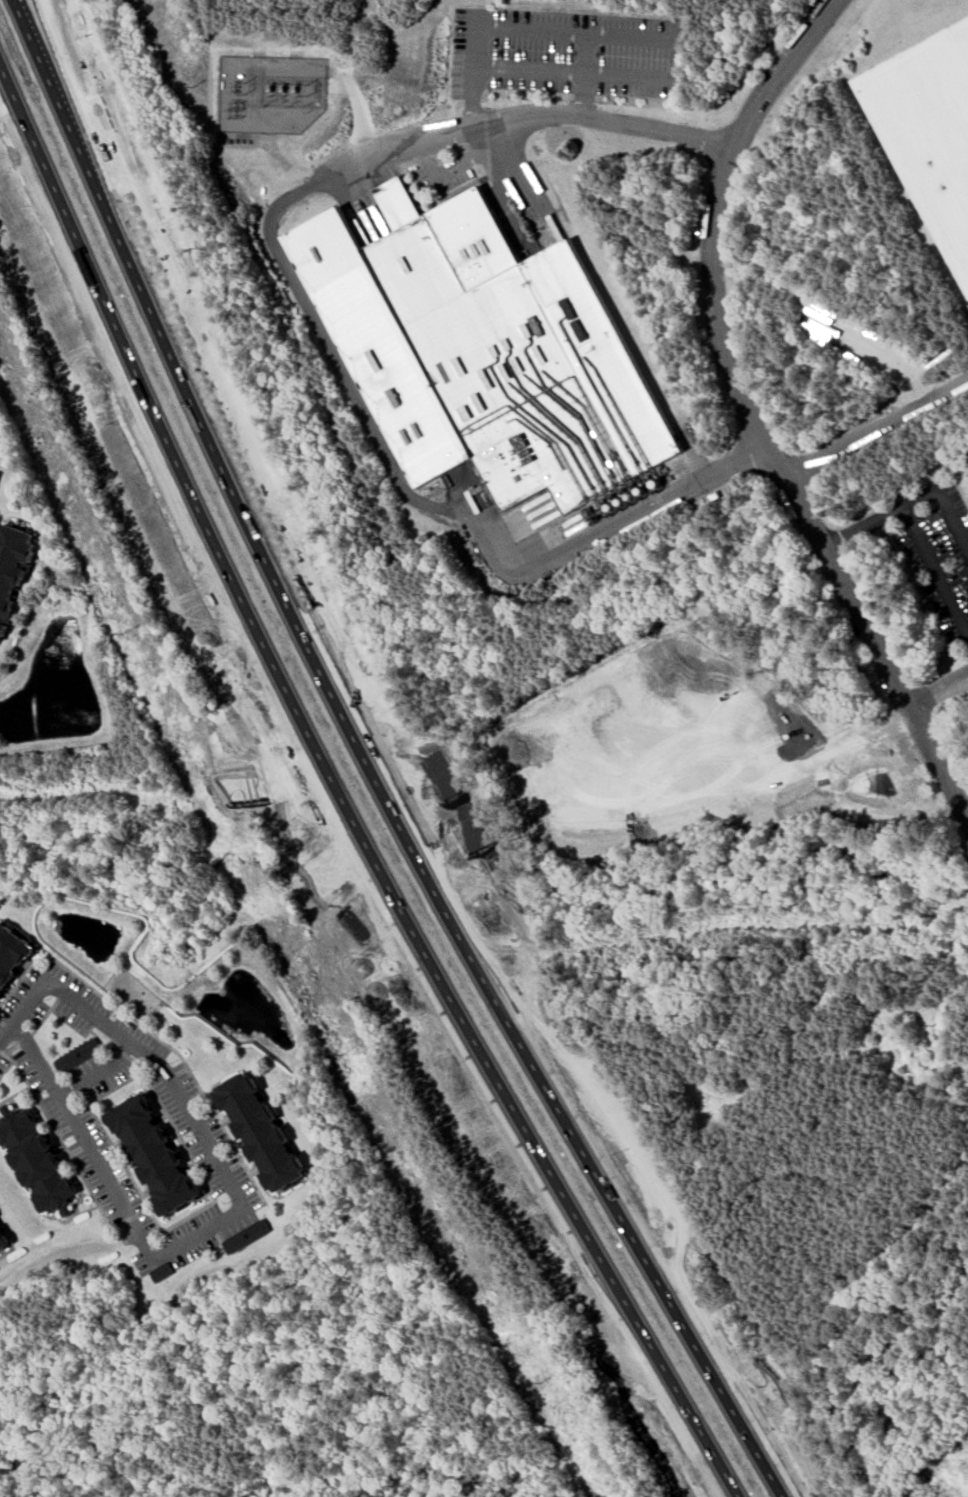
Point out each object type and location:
road: (526, 28)
road: (574, 71)
road: (581, 74)
power tower: (191, 88)
power substation: (270, 94)
power tower: (234, 108)
building: (930, 129)
road: (316, 331)
building: (487, 350)
road: (173, 356)
road: (143, 399)
road: (748, 414)
road: (878, 429)
road: (943, 504)
road: (860, 527)
parking lot: (936, 549)
building: (14, 568)
road: (931, 573)
power tower: (122, 633)
road: (937, 688)
building: (691, 729)
road: (855, 735)
building: (11, 954)
road: (62, 996)
power tower: (342, 1054)
building: (77, 1055)
road: (557, 1105)
road: (511, 1112)
building: (265, 1131)
building: (151, 1155)
building: (33, 1160)
road: (202, 1229)
building: (251, 1235)
building: (2, 1242)
building: (162, 1272)
power tower: (539, 1383)

